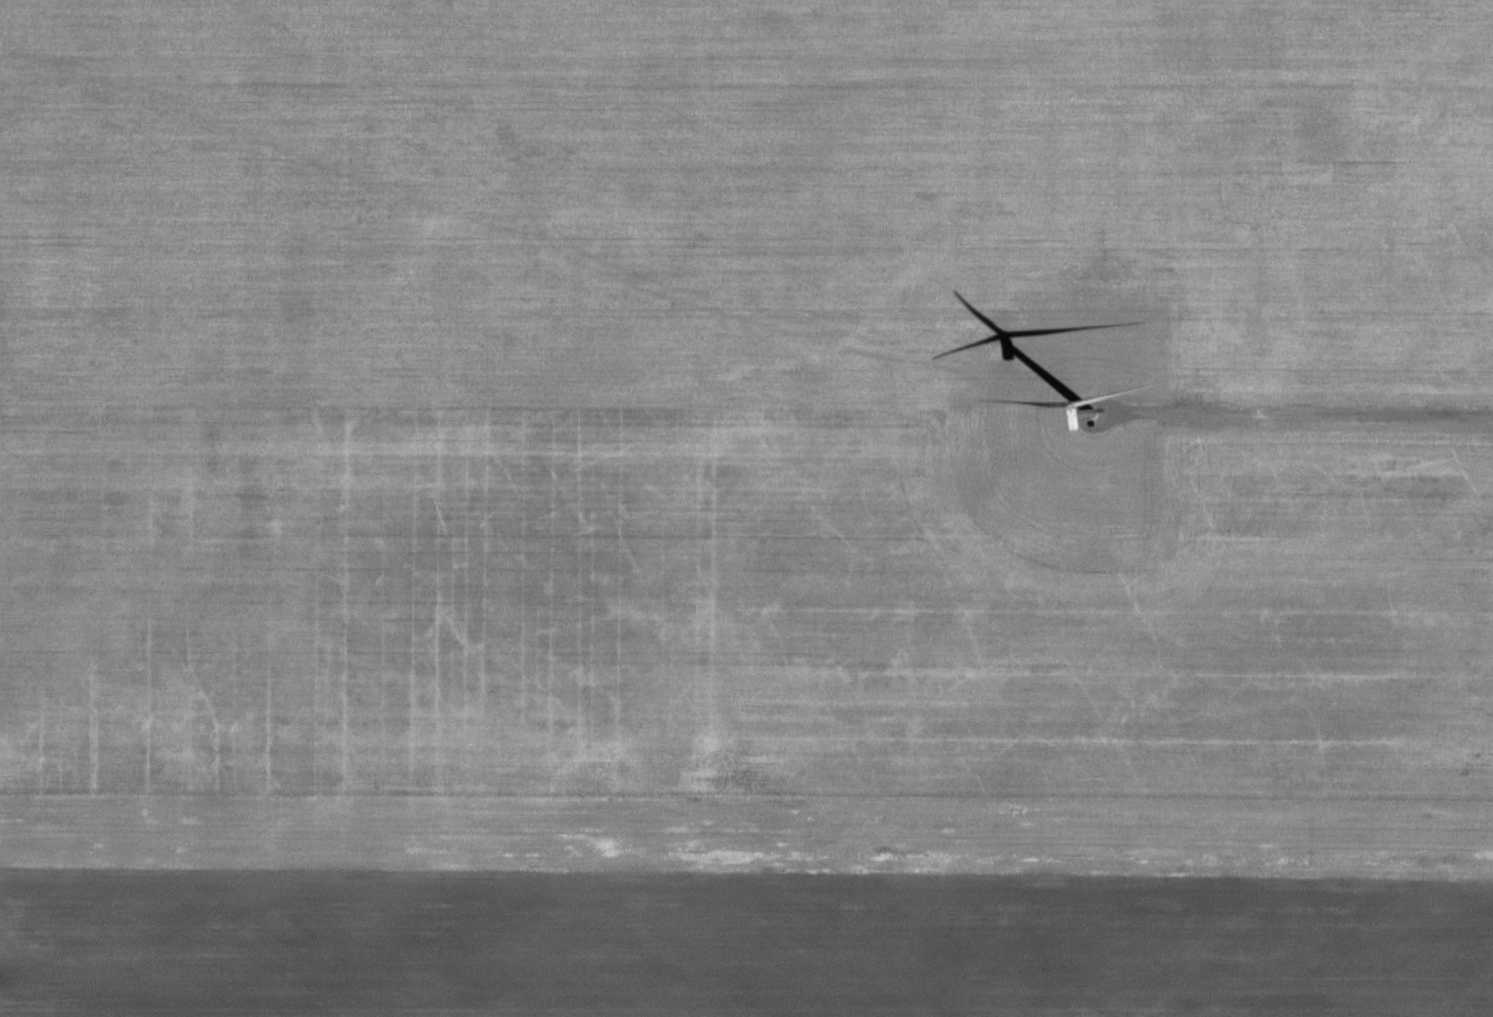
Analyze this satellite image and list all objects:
wind turbine: (1088, 412)

